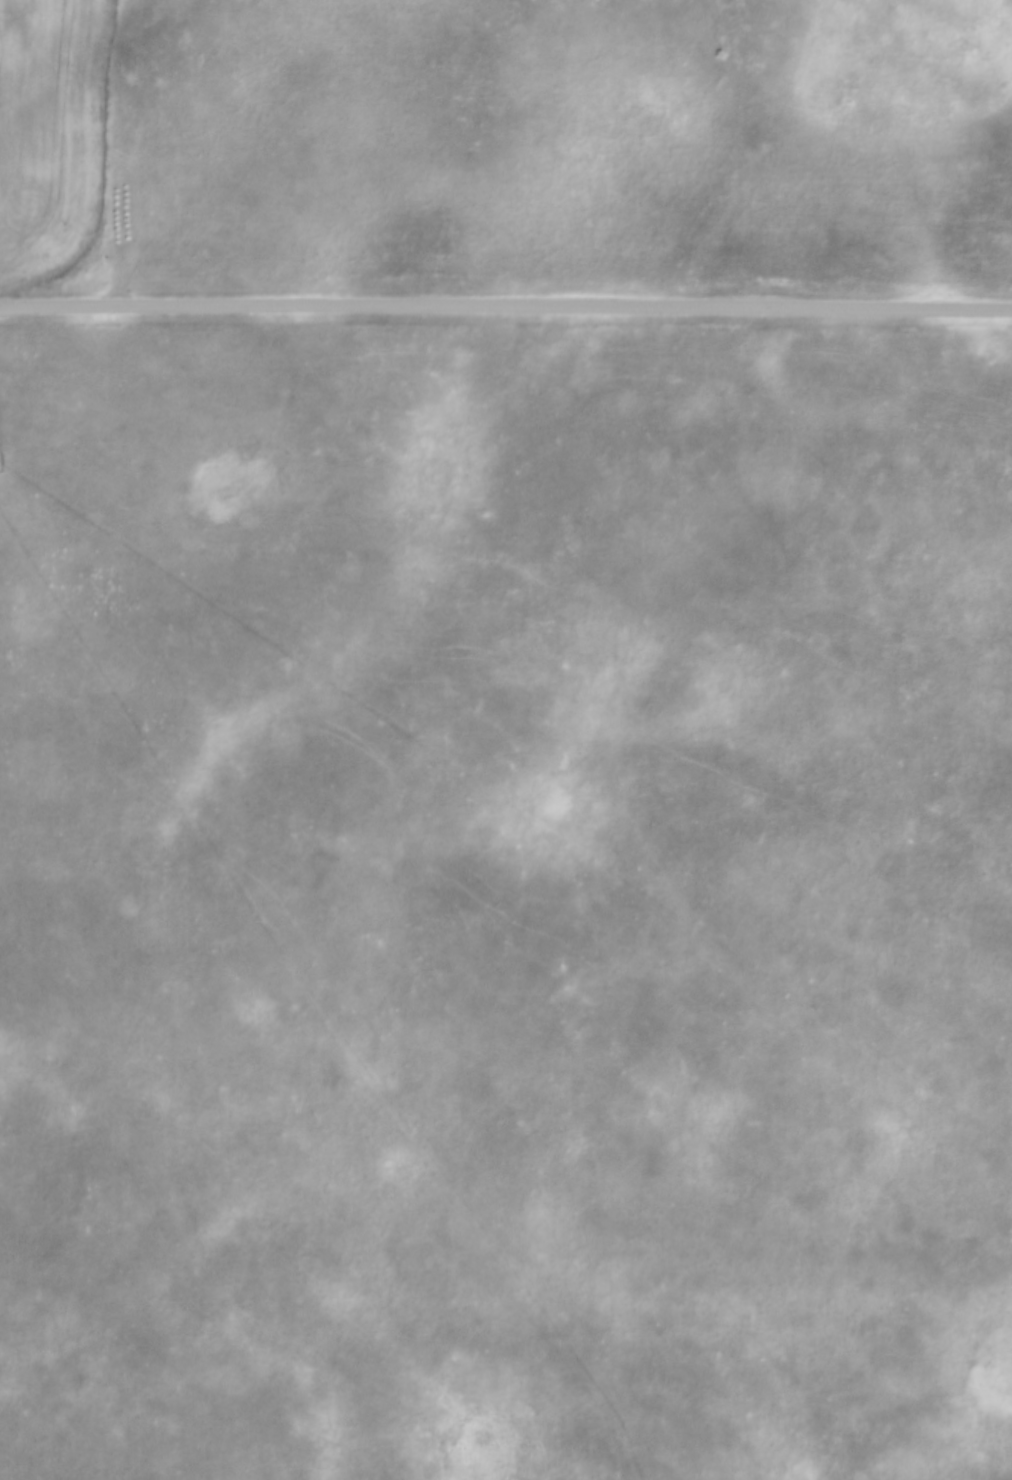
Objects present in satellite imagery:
road: (506, 301)

